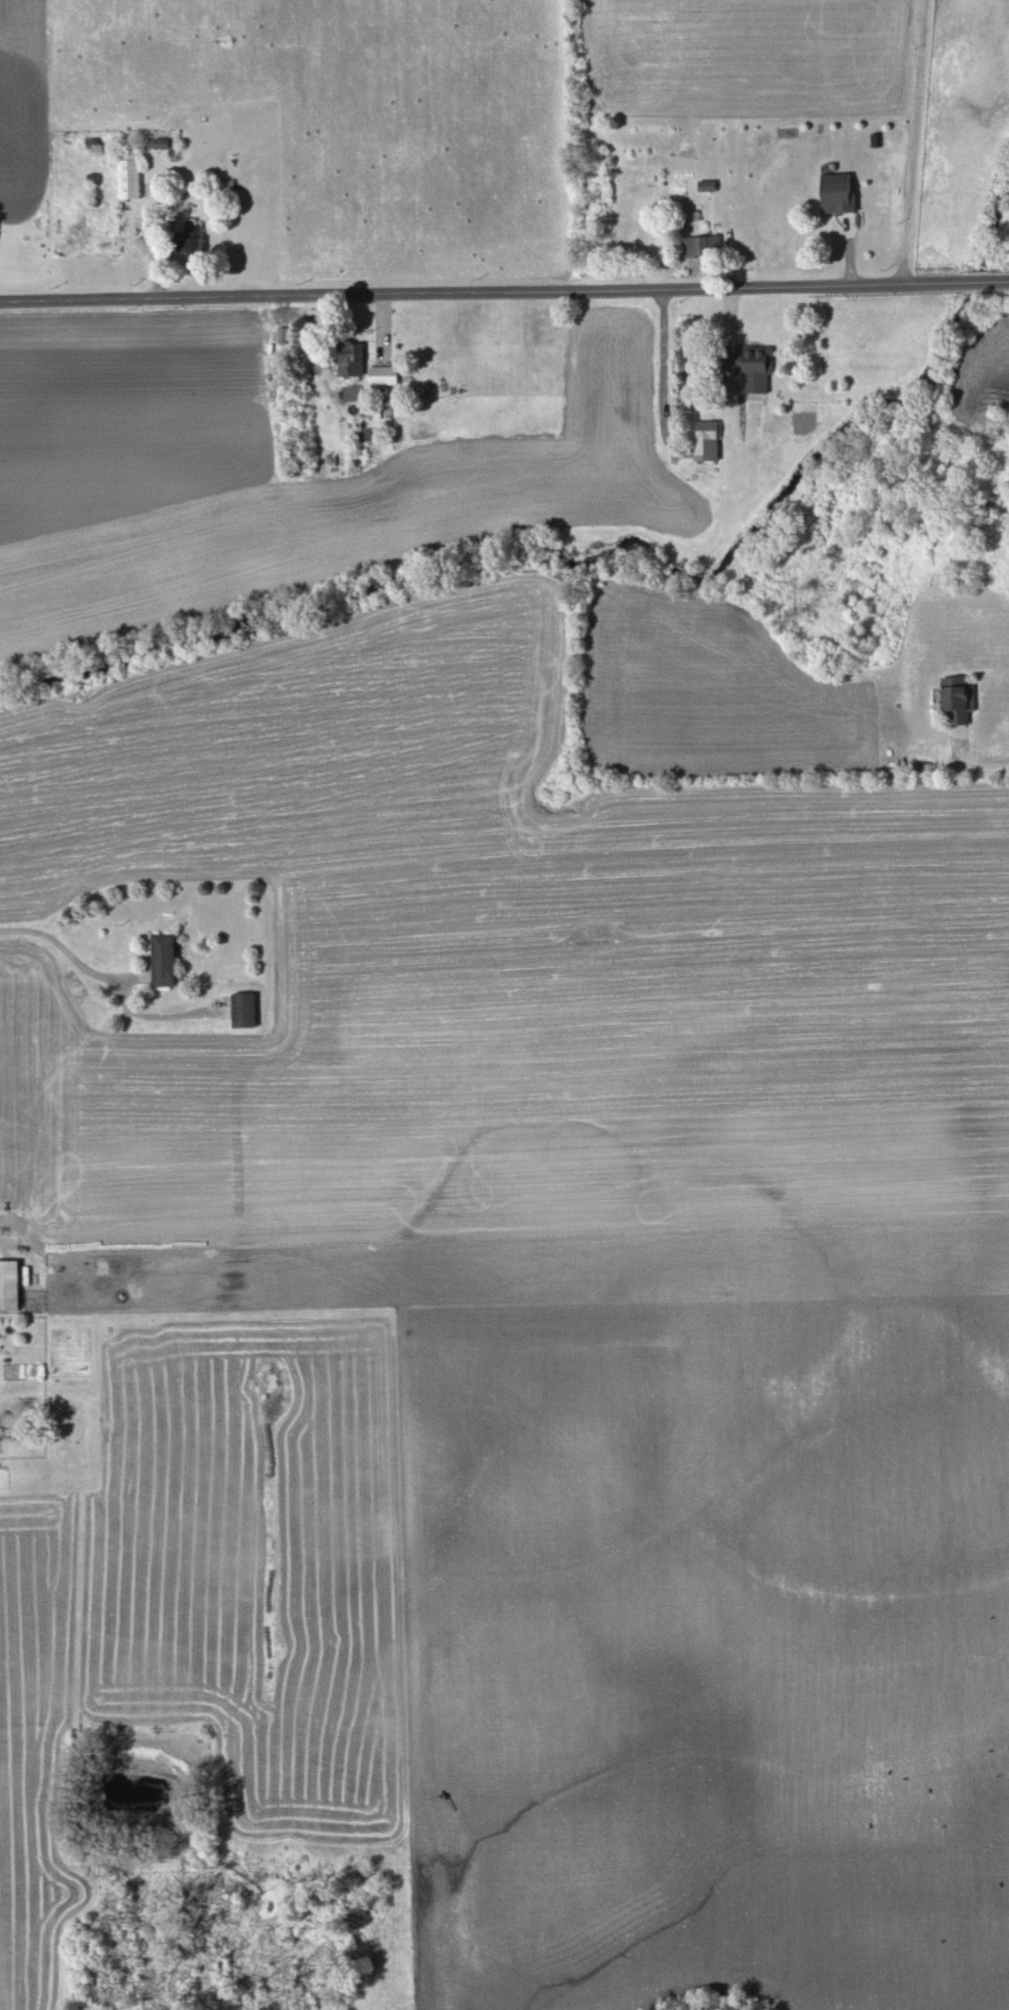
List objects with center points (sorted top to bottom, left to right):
road: (916, 142)
building: (129, 174)
building: (839, 193)
building: (189, 239)
building: (703, 246)
road: (504, 292)
building: (352, 359)
building: (753, 368)
building: (384, 376)
road: (663, 376)
building: (708, 441)
building: (959, 705)
road: (993, 758)
building: (164, 959)
road: (70, 969)
building: (245, 1010)
building: (10, 1285)

